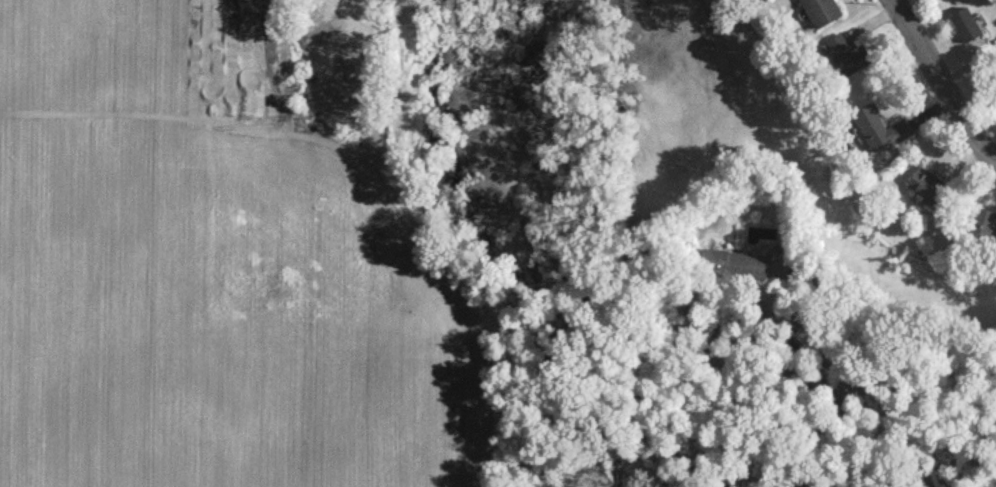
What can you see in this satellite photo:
building: (820, 11)
building: (965, 24)
building: (845, 54)
road: (938, 83)
building: (878, 127)
building: (925, 182)
building: (982, 223)
building: (734, 263)

